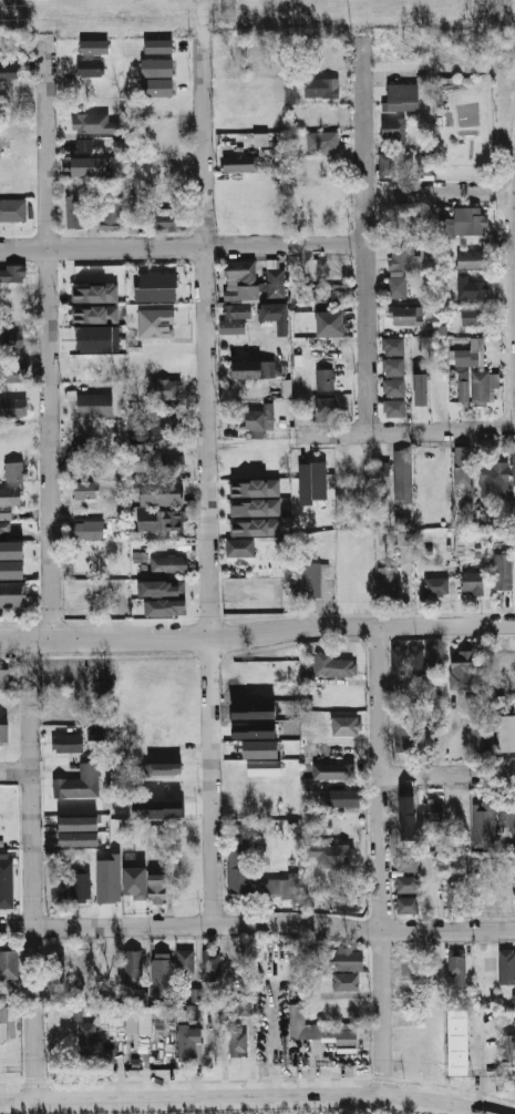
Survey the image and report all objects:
power tower: (496, 3)
power tower: (227, 7)
building: (96, 45)
building: (158, 45)
building: (91, 65)
building: (156, 67)
building: (10, 70)
building: (157, 86)
building: (327, 89)
building: (403, 98)
building: (322, 114)
building: (93, 121)
building: (391, 129)
building: (322, 141)
building: (84, 145)
building: (238, 163)
building: (404, 163)
building: (92, 164)
building: (385, 164)
building: (423, 165)
road: (440, 191)
building: (13, 209)
building: (74, 211)
building: (110, 215)
road: (365, 216)
building: (468, 221)
building: (167, 222)
building: (443, 226)
road: (183, 249)
building: (402, 258)
building: (472, 259)
building: (12, 273)
building: (251, 279)
building: (156, 286)
building: (396, 287)
building: (471, 287)
building: (327, 292)
building: (94, 293)
building: (237, 310)
building: (95, 314)
building: (275, 315)
building: (405, 315)
building: (472, 316)
road: (48, 318)
building: (155, 323)
building: (329, 323)
building: (231, 326)
building: (97, 338)
building: (10, 339)
building: (392, 346)
building: (470, 354)
building: (392, 367)
building: (253, 369)
building: (9, 371)
building: (323, 379)
building: (393, 387)
building: (463, 387)
building: (482, 387)
building: (165, 389)
building: (420, 389)
building: (94, 405)
building: (325, 406)
building: (13, 407)
building: (394, 408)
building: (259, 420)
building: (164, 425)
road: (409, 431)
building: (87, 448)
building: (136, 452)
road: (208, 461)
building: (168, 463)
building: (462, 466)
building: (513, 469)
building: (13, 470)
building: (402, 474)
building: (380, 478)
building: (493, 478)
building: (311, 481)
building: (254, 488)
building: (84, 489)
building: (9, 495)
building: (254, 508)
building: (161, 520)
building: (255, 527)
building: (4, 530)
building: (89, 530)
building: (465, 543)
building: (239, 546)
building: (11, 550)
building: (167, 563)
building: (11, 569)
building: (502, 571)
building: (311, 579)
building: (387, 581)
building: (472, 582)
building: (436, 586)
building: (161, 587)
building: (241, 589)
building: (13, 593)
building: (165, 606)
road: (257, 631)
building: (432, 658)
building: (405, 660)
building: (332, 665)
building: (461, 670)
building: (64, 673)
building: (305, 675)
building: (4, 677)
building: (244, 719)
building: (311, 723)
building: (346, 726)
building: (404, 729)
building: (506, 730)
building: (95, 733)
building: (3, 734)
building: (272, 734)
building: (478, 738)
building: (66, 743)
building: (177, 759)
building: (264, 767)
building: (163, 769)
road: (14, 771)
building: (333, 771)
road: (449, 774)
building: (178, 779)
building: (79, 781)
building: (341, 797)
building: (432, 810)
building: (506, 816)
building: (78, 822)
building: (483, 825)
building: (78, 838)
building: (342, 849)
building: (3, 852)
road: (382, 863)
building: (406, 863)
road: (32, 869)
building: (238, 872)
building: (312, 882)
building: (6, 883)
building: (81, 883)
building: (406, 885)
building: (156, 888)
building: (280, 888)
building: (59, 889)
building: (127, 890)
building: (455, 895)
building: (487, 895)
building: (348, 903)
building: (406, 905)
road: (257, 924)
building: (348, 959)
building: (81, 961)
building: (185, 961)
building: (107, 962)
building: (9, 964)
building: (55, 965)
building: (507, 967)
building: (133, 968)
building: (210, 968)
building: (456, 968)
building: (161, 971)
building: (346, 982)
building: (195, 995)
building: (513, 1000)
building: (244, 1009)
building: (482, 1016)
building: (137, 1021)
building: (3, 1023)
building: (321, 1033)
building: (223, 1040)
building: (86, 1041)
building: (189, 1041)
building: (457, 1043)
road: (266, 1045)
building: (508, 1050)
building: (107, 1055)
road: (146, 1061)
road: (120, 1077)
road: (236, 1101)

